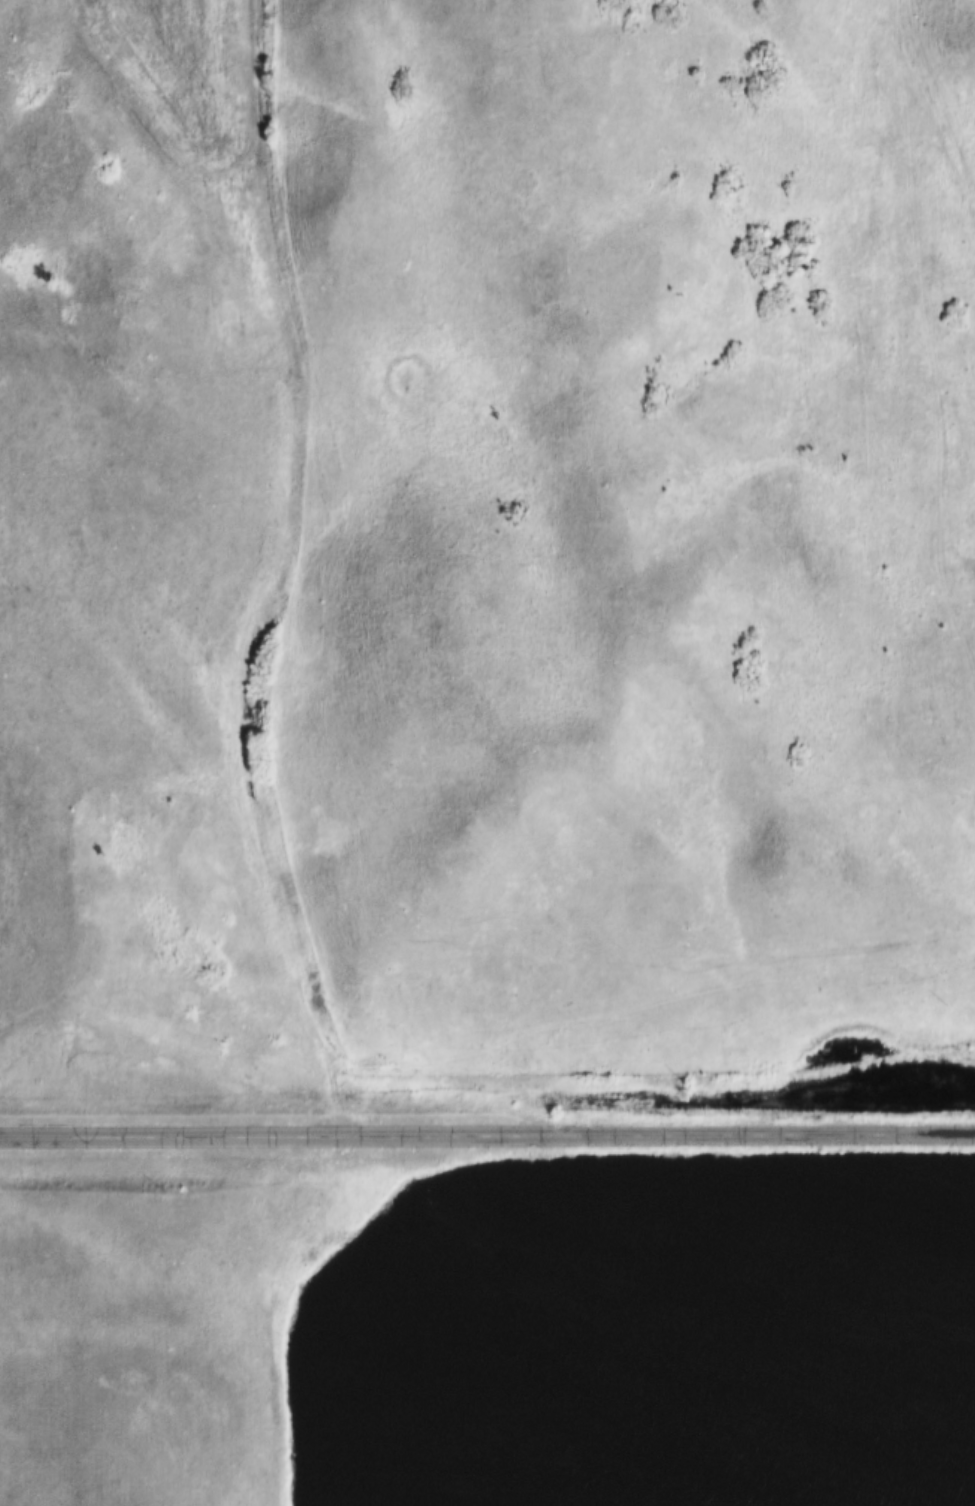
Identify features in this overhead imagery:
road: (487, 1131)

